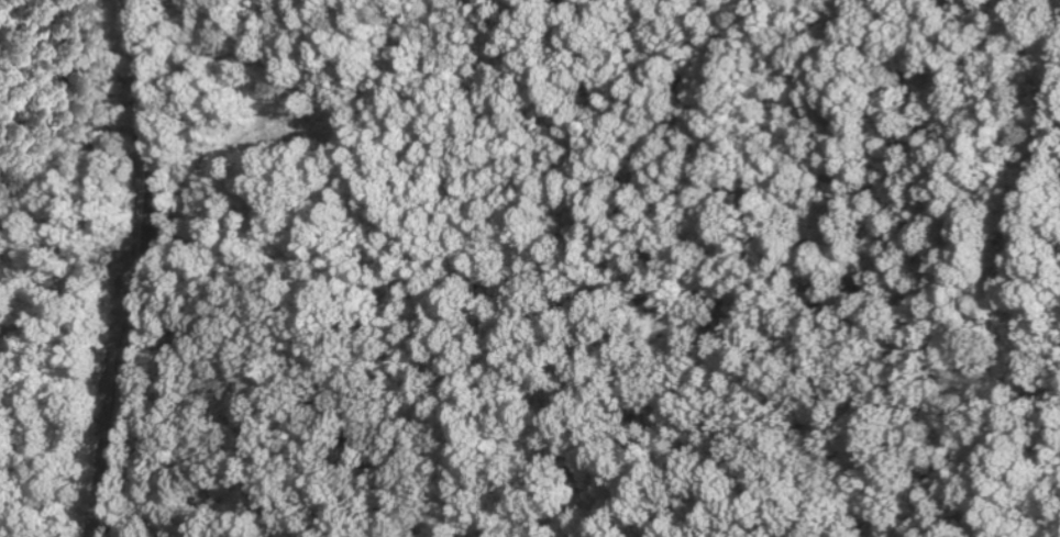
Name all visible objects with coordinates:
road: (141, 268)

